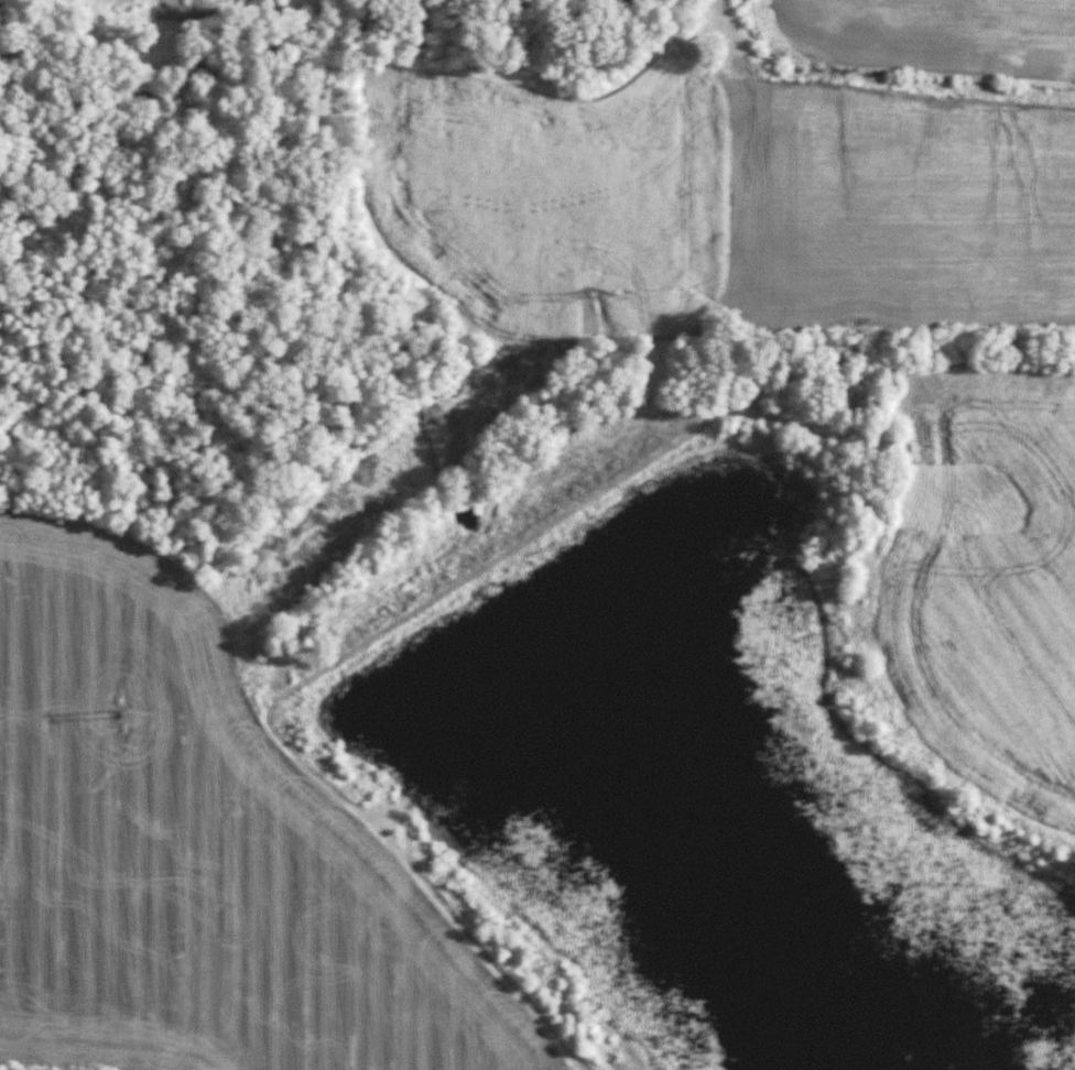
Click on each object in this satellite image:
road: (730, 159)

